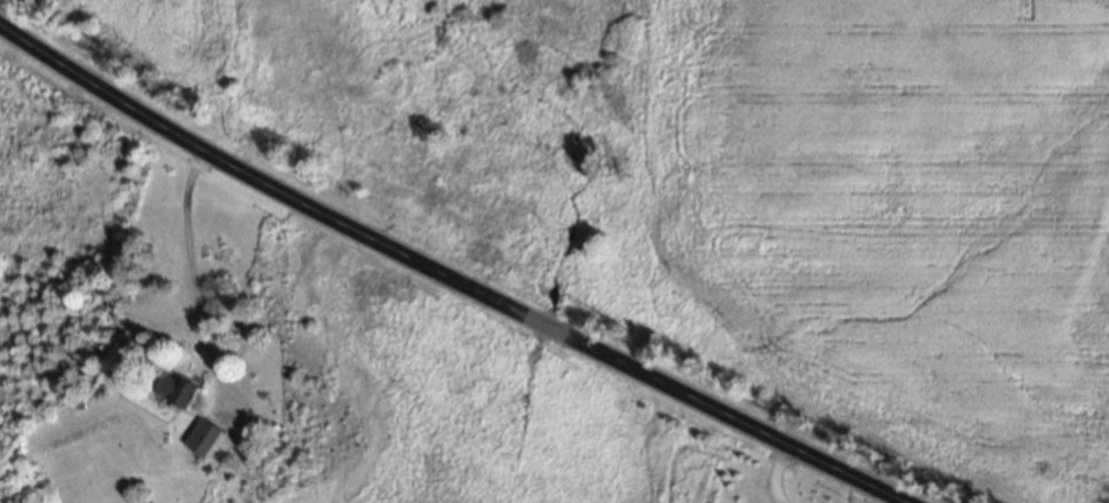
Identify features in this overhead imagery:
road: (452, 283)
road: (195, 288)
building: (176, 389)
building: (203, 436)
road: (778, 470)

